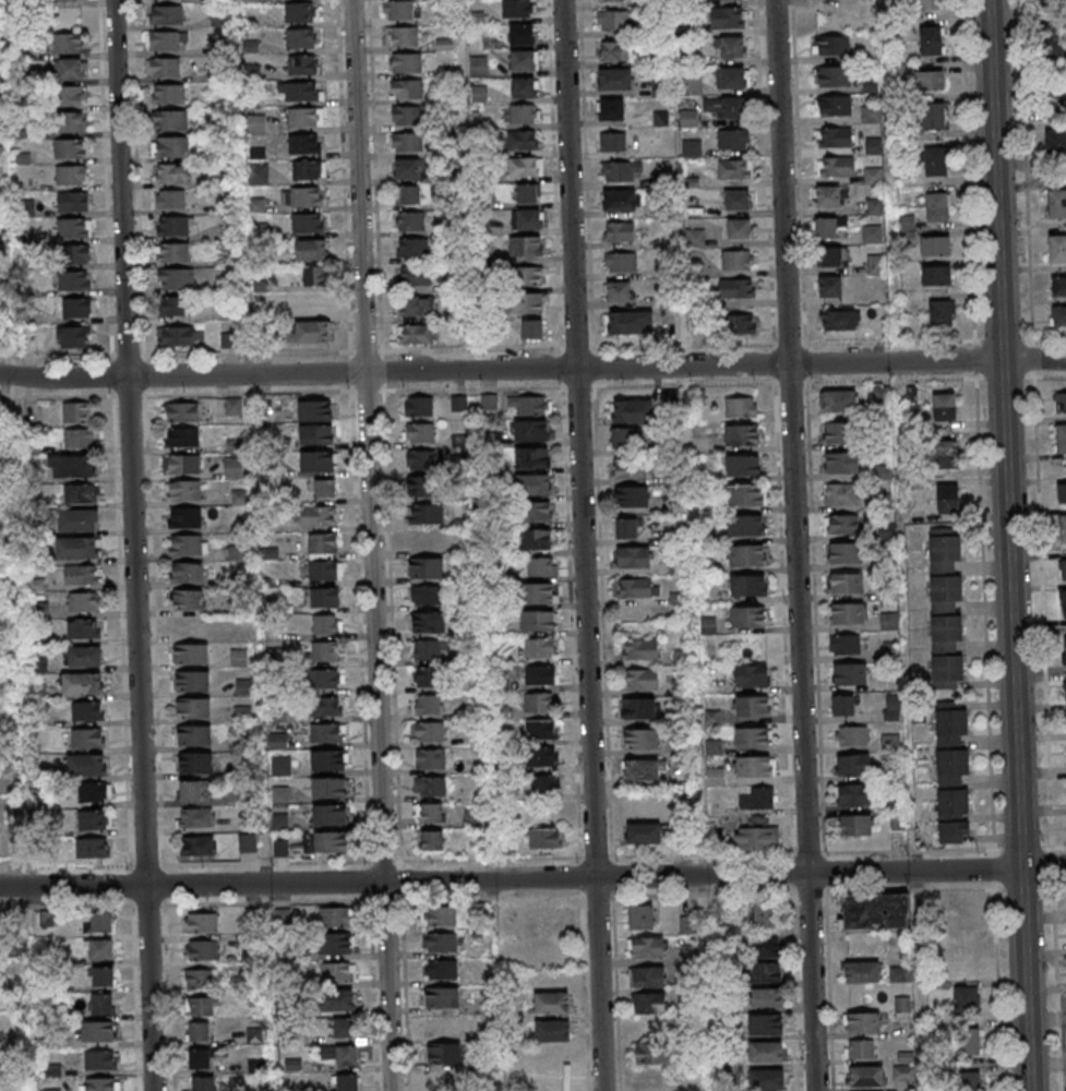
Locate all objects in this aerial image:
building: (250, 0)
building: (610, 0)
building: (929, 4)
building: (866, 5)
building: (518, 8)
building: (400, 10)
building: (301, 12)
building: (165, 15)
building: (727, 19)
building: (614, 21)
building: (522, 34)
building: (403, 36)
building: (300, 38)
building: (931, 39)
building: (165, 41)
building: (67, 43)
building: (1053, 44)
building: (830, 45)
building: (731, 48)
building: (614, 50)
building: (524, 60)
building: (405, 62)
building: (300, 64)
building: (479, 65)
road: (10, 67)
building: (70, 68)
building: (163, 69)
building: (834, 75)
building: (732, 77)
building: (614, 79)
building: (931, 79)
building: (692, 84)
building: (525, 86)
building: (407, 88)
building: (298, 91)
building: (71, 95)
building: (168, 95)
building: (1053, 96)
building: (834, 105)
building: (726, 108)
building: (610, 109)
building: (524, 113)
building: (406, 116)
building: (934, 116)
building: (304, 117)
building: (690, 119)
building: (170, 120)
building: (71, 122)
building: (835, 137)
building: (1055, 140)
building: (522, 141)
building: (733, 141)
building: (407, 142)
building: (612, 142)
building: (304, 143)
building: (171, 146)
building: (873, 146)
building: (71, 148)
building: (691, 148)
building: (935, 161)
building: (836, 167)
building: (525, 168)
building: (410, 169)
building: (308, 170)
building: (734, 170)
building: (620, 171)
building: (171, 172)
building: (72, 175)
building: (872, 176)
road: (890, 181)
road: (469, 185)
road: (1031, 189)
road: (970, 190)
building: (527, 194)
building: (302, 196)
building: (408, 196)
building: (828, 196)
building: (170, 200)
building: (736, 200)
building: (73, 201)
building: (621, 201)
building: (1056, 203)
building: (935, 206)
building: (875, 207)
building: (526, 220)
building: (410, 221)
building: (308, 224)
building: (172, 227)
building: (74, 228)
building: (825, 228)
building: (739, 229)
building: (619, 232)
building: (872, 233)
building: (697, 239)
building: (935, 247)
building: (412, 248)
building: (526, 248)
building: (1057, 249)
building: (311, 251)
building: (76, 254)
building: (173, 254)
building: (831, 257)
building: (736, 261)
building: (621, 263)
building: (875, 265)
building: (936, 275)
building: (414, 276)
building: (528, 276)
building: (314, 277)
building: (176, 280)
building: (74, 281)
building: (829, 286)
building: (1058, 286)
building: (735, 288)
building: (618, 291)
building: (311, 303)
building: (527, 303)
building: (416, 305)
building: (175, 307)
building: (76, 309)
building: (941, 312)
building: (1058, 315)
building: (841, 321)
building: (630, 323)
building: (740, 323)
building: (531, 329)
building: (309, 332)
building: (416, 333)
building: (176, 337)
building: (71, 338)
building: (32, 341)
road: (981, 360)
road: (448, 371)
road: (997, 379)
building: (881, 395)
building: (840, 400)
building: (489, 401)
building: (1059, 401)
building: (459, 404)
building: (418, 406)
building: (529, 406)
building: (741, 406)
building: (944, 406)
building: (233, 407)
building: (315, 410)
building: (77, 411)
building: (632, 411)
building: (180, 412)
building: (530, 430)
building: (420, 432)
building: (837, 432)
building: (316, 434)
building: (742, 434)
building: (80, 437)
building: (181, 437)
building: (622, 437)
building: (1061, 437)
building: (946, 453)
building: (531, 457)
building: (420, 459)
building: (316, 460)
building: (841, 463)
building: (181, 465)
building: (742, 465)
building: (71, 466)
building: (233, 468)
building: (630, 469)
building: (532, 484)
road: (780, 485)
building: (421, 487)
building: (325, 488)
building: (183, 491)
building: (1063, 492)
building: (81, 493)
building: (743, 495)
building: (840, 495)
building: (631, 496)
building: (948, 499)
building: (538, 511)
building: (424, 513)
building: (318, 516)
building: (183, 518)
building: (77, 520)
building: (842, 525)
building: (744, 526)
building: (626, 528)
building: (1063, 529)
building: (535, 539)
building: (426, 540)
road: (136, 544)
building: (188, 544)
building: (322, 544)
road: (371, 545)
road: (584, 545)
road: (798, 545)
road: (1013, 545)
building: (76, 548)
building: (845, 553)
building: (633, 556)
building: (745, 556)
building: (541, 566)
building: (426, 567)
building: (1063, 568)
building: (185, 572)
building: (325, 572)
building: (83, 575)
building: (847, 584)
building: (747, 587)
building: (634, 588)
building: (538, 592)
building: (426, 595)
building: (324, 598)
building: (188, 599)
building: (83, 602)
building: (1064, 603)
building: (946, 608)
building: (848, 613)
building: (748, 616)
building: (538, 620)
building: (889, 621)
building: (429, 623)
building: (325, 625)
building: (84, 631)
building: (845, 644)
building: (539, 648)
building: (639, 648)
building: (429, 649)
building: (1064, 650)
building: (325, 651)
building: (191, 652)
building: (239, 657)
building: (85, 658)
building: (850, 673)
building: (751, 675)
building: (427, 676)
building: (540, 676)
building: (326, 679)
building: (640, 679)
building: (192, 681)
building: (82, 685)
building: (1065, 691)
building: (539, 703)
building: (428, 704)
building: (752, 705)
building: (843, 705)
building: (326, 706)
building: (893, 706)
building: (638, 708)
building: (193, 709)
building: (86, 712)
building: (544, 730)
building: (428, 731)
building: (327, 732)
building: (194, 735)
building: (850, 735)
building: (752, 738)
building: (87, 739)
building: (640, 739)
building: (541, 756)
building: (431, 758)
building: (327, 759)
building: (194, 763)
building: (853, 764)
building: (86, 765)
building: (280, 765)
building: (754, 767)
building: (642, 770)
building: (951, 774)
building: (715, 776)
building: (543, 784)
building: (430, 786)
building: (328, 788)
building: (194, 790)
building: (95, 791)
building: (853, 794)
building: (758, 799)
building: (430, 813)
building: (330, 815)
building: (197, 817)
building: (472, 817)
building: (94, 819)
building: (278, 823)
building: (855, 826)
building: (644, 835)
building: (546, 838)
building: (431, 840)
building: (758, 840)
building: (248, 842)
building: (327, 842)
building: (197, 844)
building: (95, 848)
building: (507, 848)
road: (599, 858)
road: (1054, 862)
road: (991, 871)
road: (458, 880)
building: (958, 907)
building: (877, 911)
building: (765, 915)
building: (253, 916)
building: (283, 916)
building: (335, 916)
building: (642, 916)
building: (47, 918)
building: (438, 918)
building: (101, 921)
building: (200, 922)
building: (441, 943)
building: (335, 944)
building: (19, 946)
building: (647, 947)
building: (765, 948)
building: (100, 949)
building: (202, 949)
building: (442, 969)
building: (338, 972)
building: (766, 972)
road: (830, 972)
building: (862, 972)
building: (900, 973)
building: (103, 975)
building: (648, 975)
building: (200, 978)
road: (920, 981)
road: (999, 981)
road: (1056, 982)
building: (442, 997)
building: (766, 998)
building: (339, 1000)
building: (966, 1002)
building: (556, 1003)
building: (649, 1003)
building: (101, 1004)
building: (202, 1006)
building: (861, 1022)
building: (765, 1026)
building: (342, 1029)
building: (552, 1030)
building: (97, 1031)
building: (199, 1031)
building: (968, 1042)
building: (859, 1050)
building: (766, 1052)
building: (651, 1053)
building: (444, 1054)
building: (338, 1056)
building: (551, 1058)
building: (200, 1059)
building: (99, 1060)
building: (864, 1076)
building: (774, 1080)
building: (444, 1081)
building: (347, 1082)
building: (560, 1082)
building: (972, 1082)
building: (203, 1083)
building: (101, 1084)

